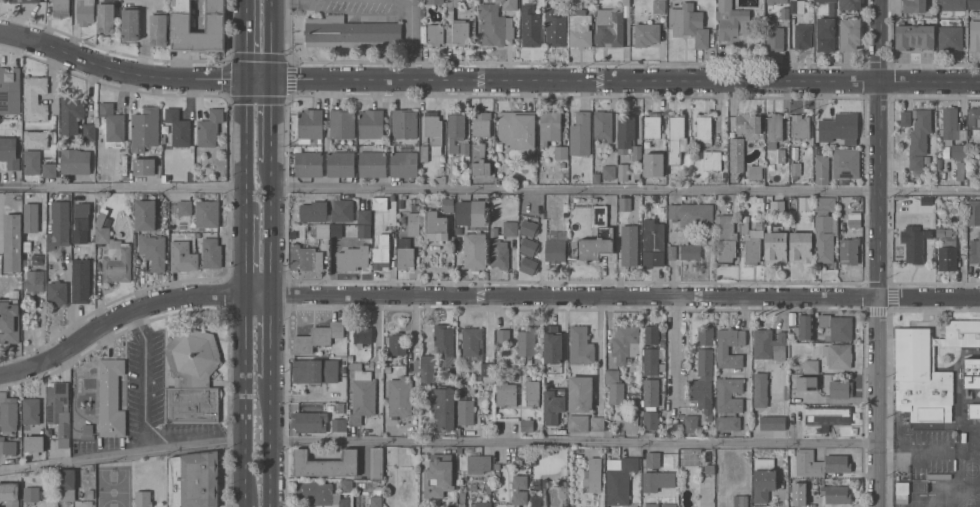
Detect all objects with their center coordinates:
building: (498, 0)
building: (25, 1)
road: (378, 1)
building: (435, 1)
building: (626, 2)
building: (770, 3)
building: (510, 4)
building: (974, 4)
building: (851, 5)
building: (913, 5)
building: (952, 5)
building: (659, 6)
building: (796, 6)
building: (61, 8)
building: (86, 11)
building: (785, 13)
building: (181, 15)
building: (106, 16)
building: (731, 20)
building: (131, 23)
building: (689, 23)
building: (495, 25)
building: (531, 26)
building: (456, 27)
building: (556, 27)
building: (609, 27)
building: (159, 28)
building: (580, 28)
building: (827, 29)
building: (350, 32)
building: (975, 32)
building: (646, 33)
building: (850, 33)
building: (435, 34)
building: (803, 35)
building: (915, 36)
road: (272, 38)
building: (775, 38)
building: (950, 38)
road: (245, 39)
road: (51, 71)
road: (486, 78)
building: (10, 90)
building: (36, 97)
building: (72, 114)
building: (974, 118)
building: (113, 121)
road: (271, 122)
building: (342, 123)
building: (371, 123)
building: (405, 123)
building: (481, 123)
building: (749, 123)
building: (603, 125)
building: (652, 125)
building: (310, 126)
building: (550, 126)
building: (800, 126)
building: (179, 127)
building: (210, 127)
building: (775, 127)
building: (840, 127)
building: (145, 128)
building: (455, 129)
building: (703, 129)
building: (434, 130)
building: (518, 130)
building: (90, 131)
building: (626, 131)
building: (952, 132)
building: (581, 133)
building: (918, 136)
building: (677, 137)
building: (36, 139)
building: (90, 144)
road: (244, 144)
building: (499, 147)
building: (465, 148)
building: (724, 149)
building: (9, 152)
building: (561, 152)
building: (424, 153)
building: (636, 154)
building: (737, 154)
building: (781, 155)
building: (927, 159)
building: (712, 160)
building: (32, 161)
building: (75, 161)
building: (479, 161)
building: (404, 162)
building: (846, 162)
building: (309, 163)
building: (340, 163)
building: (372, 163)
building: (939, 163)
building: (196, 164)
building: (562, 164)
building: (653, 164)
building: (145, 165)
building: (795, 169)
building: (50, 170)
building: (441, 170)
building: (822, 170)
building: (960, 170)
building: (159, 171)
building: (609, 171)
building: (623, 171)
building: (575, 172)
building: (636, 172)
building: (755, 172)
building: (596, 177)
building: (439, 179)
building: (499, 180)
road: (122, 187)
road: (626, 190)
building: (393, 197)
building: (379, 202)
building: (625, 203)
building: (803, 203)
building: (330, 204)
building: (447, 204)
building: (774, 205)
building: (900, 206)
building: (183, 207)
building: (414, 207)
building: (41, 211)
building: (313, 211)
building: (471, 212)
building: (974, 212)
building: (207, 213)
building: (146, 214)
building: (692, 214)
building: (364, 216)
building: (173, 219)
building: (855, 219)
road: (879, 220)
building: (81, 222)
building: (59, 225)
building: (436, 226)
building: (529, 227)
building: (744, 227)
road: (271, 228)
building: (825, 228)
building: (336, 229)
building: (757, 229)
building: (323, 230)
building: (364, 230)
building: (414, 230)
building: (458, 230)
building: (944, 232)
building: (605, 233)
building: (929, 234)
building: (726, 238)
building: (12, 242)
building: (502, 243)
building: (653, 243)
building: (629, 245)
building: (529, 246)
building: (776, 246)
building: (914, 246)
building: (801, 247)
building: (154, 250)
building: (475, 250)
building: (555, 250)
building: (753, 250)
building: (849, 250)
building: (975, 250)
road: (244, 251)
building: (690, 251)
building: (113, 252)
building: (212, 252)
building: (381, 252)
building: (672, 252)
building: (947, 254)
building: (405, 255)
building: (183, 256)
building: (305, 258)
building: (353, 258)
building: (528, 265)
building: (81, 279)
building: (34, 281)
building: (57, 292)
road: (481, 292)
building: (10, 317)
road: (139, 325)
road: (376, 326)
building: (836, 327)
building: (805, 328)
road: (413, 329)
building: (962, 332)
building: (663, 333)
building: (362, 334)
building: (651, 334)
building: (705, 334)
building: (317, 336)
building: (520, 338)
road: (270, 341)
building: (937, 341)
building: (625, 342)
building: (398, 343)
building: (552, 343)
building: (662, 343)
building: (473, 344)
building: (769, 344)
building: (581, 345)
building: (444, 346)
road: (598, 347)
road: (677, 347)
building: (723, 349)
building: (839, 356)
building: (350, 357)
building: (652, 362)
building: (416, 366)
building: (811, 366)
building: (93, 370)
building: (315, 370)
building: (428, 370)
building: (972, 372)
building: (192, 377)
building: (921, 377)
building: (807, 382)
building: (614, 386)
building: (841, 388)
building: (760, 389)
building: (532, 391)
building: (651, 391)
building: (701, 391)
building: (786, 391)
road: (243, 393)
building: (362, 393)
building: (506, 393)
building: (580, 393)
road: (145, 394)
building: (491, 396)
building: (111, 397)
building: (400, 397)
building: (729, 403)
building: (554, 404)
building: (442, 405)
building: (31, 410)
building: (59, 410)
building: (974, 410)
building: (348, 411)
building: (8, 412)
building: (466, 412)
building: (827, 416)
building: (650, 419)
building: (309, 421)
building: (773, 422)
building: (489, 423)
building: (578, 423)
building: (597, 423)
building: (339, 424)
building: (526, 425)
building: (87, 431)
building: (608, 433)
building: (647, 433)
road: (574, 442)
building: (34, 443)
building: (7, 446)
road: (269, 449)
building: (459, 450)
road: (121, 453)
road: (910, 455)
building: (652, 459)
building: (377, 462)
building: (326, 463)
building: (479, 463)
building: (808, 463)
building: (838, 463)
building: (496, 465)
building: (709, 468)
building: (533, 470)
building: (562, 470)
building: (496, 473)
building: (594, 473)
building: (790, 474)
road: (878, 474)
building: (439, 475)
building: (764, 478)
building: (194, 479)
building: (620, 479)
building: (657, 480)
building: (820, 480)
building: (66, 484)
building: (346, 485)
building: (536, 485)
building: (799, 485)
building: (474, 486)
building: (482, 486)
building: (488, 486)
building: (902, 487)
building: (518, 489)
building: (790, 489)
building: (317, 491)
building: (10, 493)
building: (836, 493)
building: (31, 494)
building: (143, 498)
building: (462, 499)
building: (796, 500)
road: (242, 501)
building: (376, 501)
building: (536, 501)
building: (741, 501)
building: (424, 504)
building: (482, 504)
building: (652, 505)
building: (670, 505)

